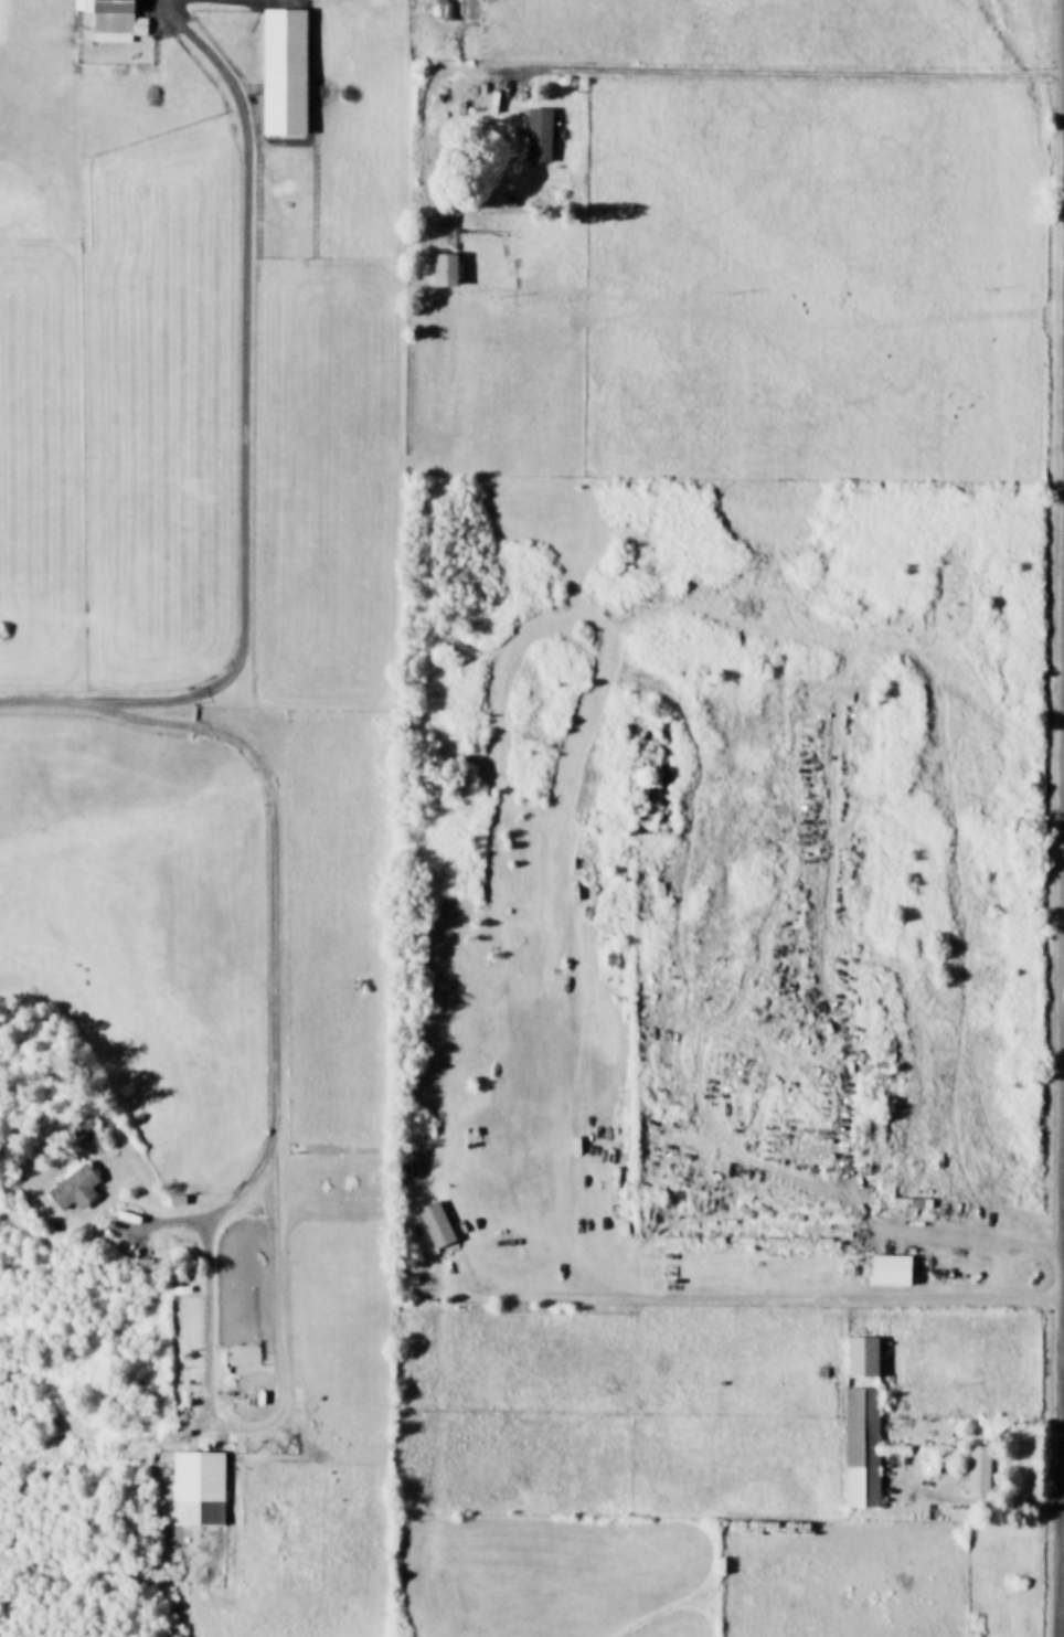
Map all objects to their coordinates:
building: (111, 20)
building: (281, 71)
road: (762, 73)
building: (538, 135)
building: (441, 269)
road: (243, 391)
road: (49, 701)
crop: (532, 818)
road: (1060, 818)
building: (77, 1128)
road: (277, 1183)
building: (73, 1187)
building: (434, 1222)
road: (945, 1234)
building: (887, 1268)
road: (752, 1293)
building: (860, 1354)
building: (860, 1446)
building: (977, 1467)
building: (195, 1487)

